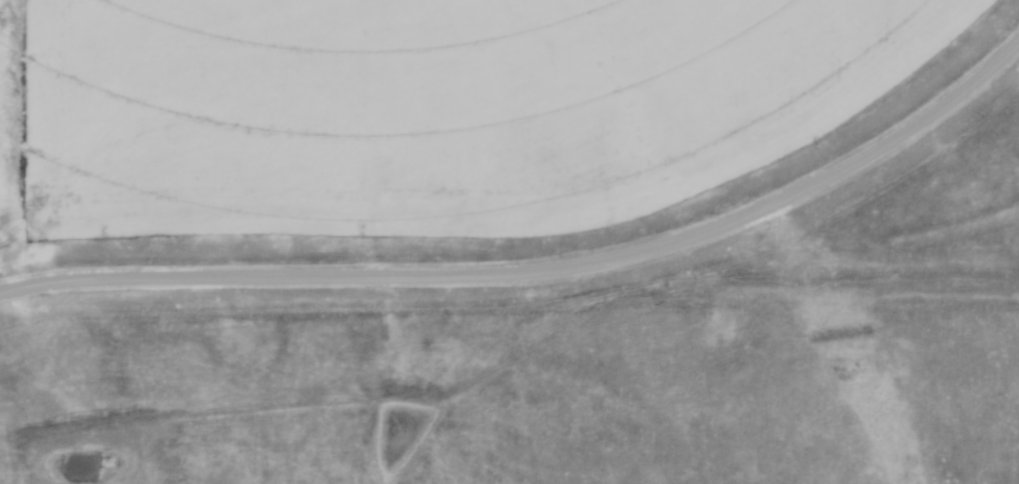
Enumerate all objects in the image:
road: (539, 268)

